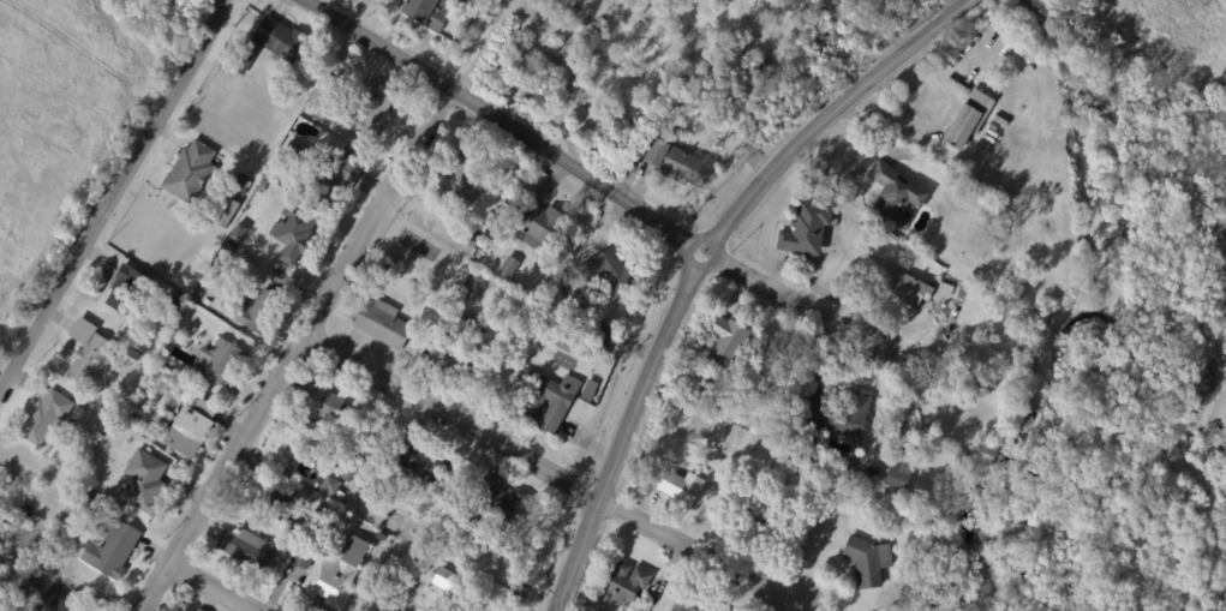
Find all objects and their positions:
building: (468, 4)
road: (578, 6)
building: (426, 13)
building: (279, 38)
road: (378, 44)
road: (483, 44)
building: (243, 58)
road: (575, 80)
building: (372, 109)
building: (967, 121)
building: (297, 152)
building: (674, 162)
road: (576, 170)
building: (190, 172)
building: (462, 175)
building: (333, 176)
building: (239, 186)
road: (113, 196)
building: (896, 196)
building: (226, 212)
building: (537, 224)
building: (805, 230)
building: (238, 232)
building: (293, 233)
building: (892, 239)
building: (264, 244)
building: (904, 247)
building: (229, 248)
road: (694, 260)
building: (383, 262)
building: (507, 268)
building: (609, 274)
building: (898, 284)
building: (943, 287)
building: (125, 288)
road: (787, 295)
building: (175, 302)
building: (253, 309)
building: (168, 317)
building: (466, 321)
building: (382, 323)
building: (163, 330)
building: (603, 334)
building: (724, 341)
building: (563, 342)
road: (297, 349)
building: (88, 358)
building: (219, 359)
building: (456, 360)
building: (127, 376)
building: (586, 389)
building: (120, 397)
building: (548, 397)
building: (313, 402)
building: (110, 405)
building: (77, 413)
building: (836, 413)
road: (1203, 415)
building: (44, 417)
building: (71, 423)
building: (189, 427)
building: (78, 429)
building: (417, 460)
building: (351, 468)
road: (550, 472)
building: (897, 478)
building: (142, 483)
building: (365, 485)
building: (677, 485)
building: (328, 489)
building: (857, 495)
building: (277, 496)
building: (496, 503)
building: (820, 507)
building: (761, 525)
building: (1, 527)
building: (378, 537)
building: (34, 545)
building: (246, 549)
building: (109, 550)
building: (304, 555)
building: (866, 559)
building: (1, 565)
building: (336, 574)
building: (444, 579)
building: (35, 580)
building: (623, 581)
building: (11, 582)
road: (213, 587)
building: (520, 593)
building: (52, 601)
building: (690, 604)
building: (370, 609)
building: (198, 610)

